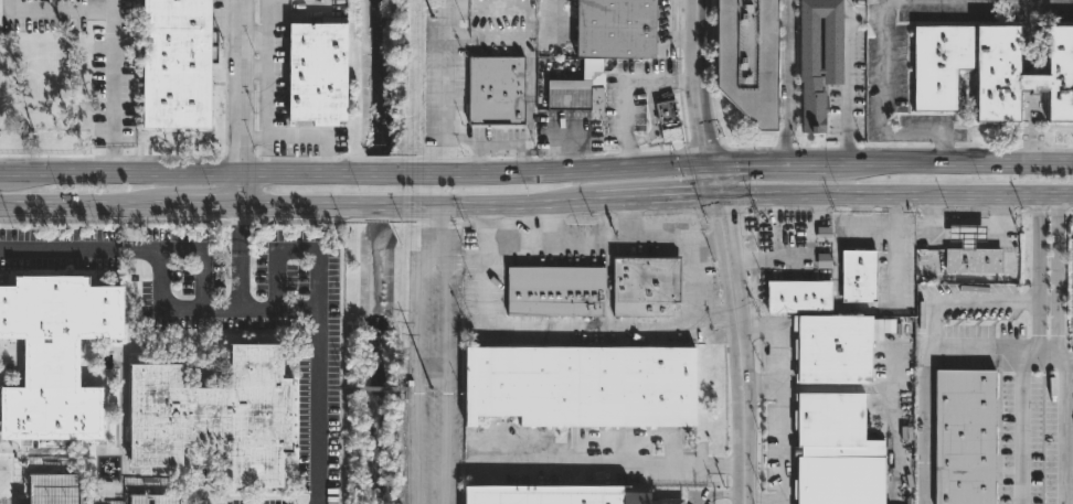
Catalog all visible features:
road: (979, 0)
road: (57, 13)
power tower: (431, 20)
building: (615, 29)
road: (479, 36)
building: (747, 58)
building: (819, 60)
building: (174, 64)
road: (116, 65)
road: (886, 66)
building: (990, 71)
building: (317, 72)
road: (695, 82)
road: (788, 83)
road: (846, 83)
road: (241, 87)
building: (491, 90)
building: (570, 95)
building: (665, 118)
road: (931, 133)
road: (955, 133)
road: (116, 138)
road: (499, 144)
road: (707, 147)
road: (4, 158)
road: (116, 160)
traffic signals: (710, 164)
road: (800, 165)
road: (982, 165)
road: (32, 173)
road: (386, 173)
road: (713, 178)
road: (240, 191)
traffic signals: (716, 192)
road: (894, 193)
road: (635, 195)
road: (51, 205)
road: (396, 205)
road: (171, 206)
road: (900, 210)
road: (724, 214)
road: (629, 219)
road: (353, 221)
road: (554, 221)
road: (240, 230)
building: (797, 242)
road: (606, 244)
road: (295, 246)
building: (970, 251)
road: (451, 258)
road: (474, 259)
road: (1038, 275)
building: (859, 276)
road: (1056, 276)
road: (693, 281)
road: (240, 282)
building: (645, 286)
building: (554, 291)
building: (799, 296)
road: (223, 310)
road: (446, 315)
road: (552, 328)
road: (737, 346)
building: (835, 346)
road: (417, 347)
building: (54, 355)
road: (1054, 356)
parking lot: (434, 367)
road: (432, 379)
road: (925, 382)
building: (581, 386)
road: (762, 386)
road: (327, 388)
road: (375, 388)
power tower: (429, 393)
road: (410, 403)
road: (780, 412)
building: (216, 416)
road: (1018, 416)
road: (1067, 431)
building: (965, 437)
road: (446, 441)
building: (833, 451)
road: (619, 463)
building: (54, 490)
building: (553, 495)
road: (720, 495)
building: (153, 500)

